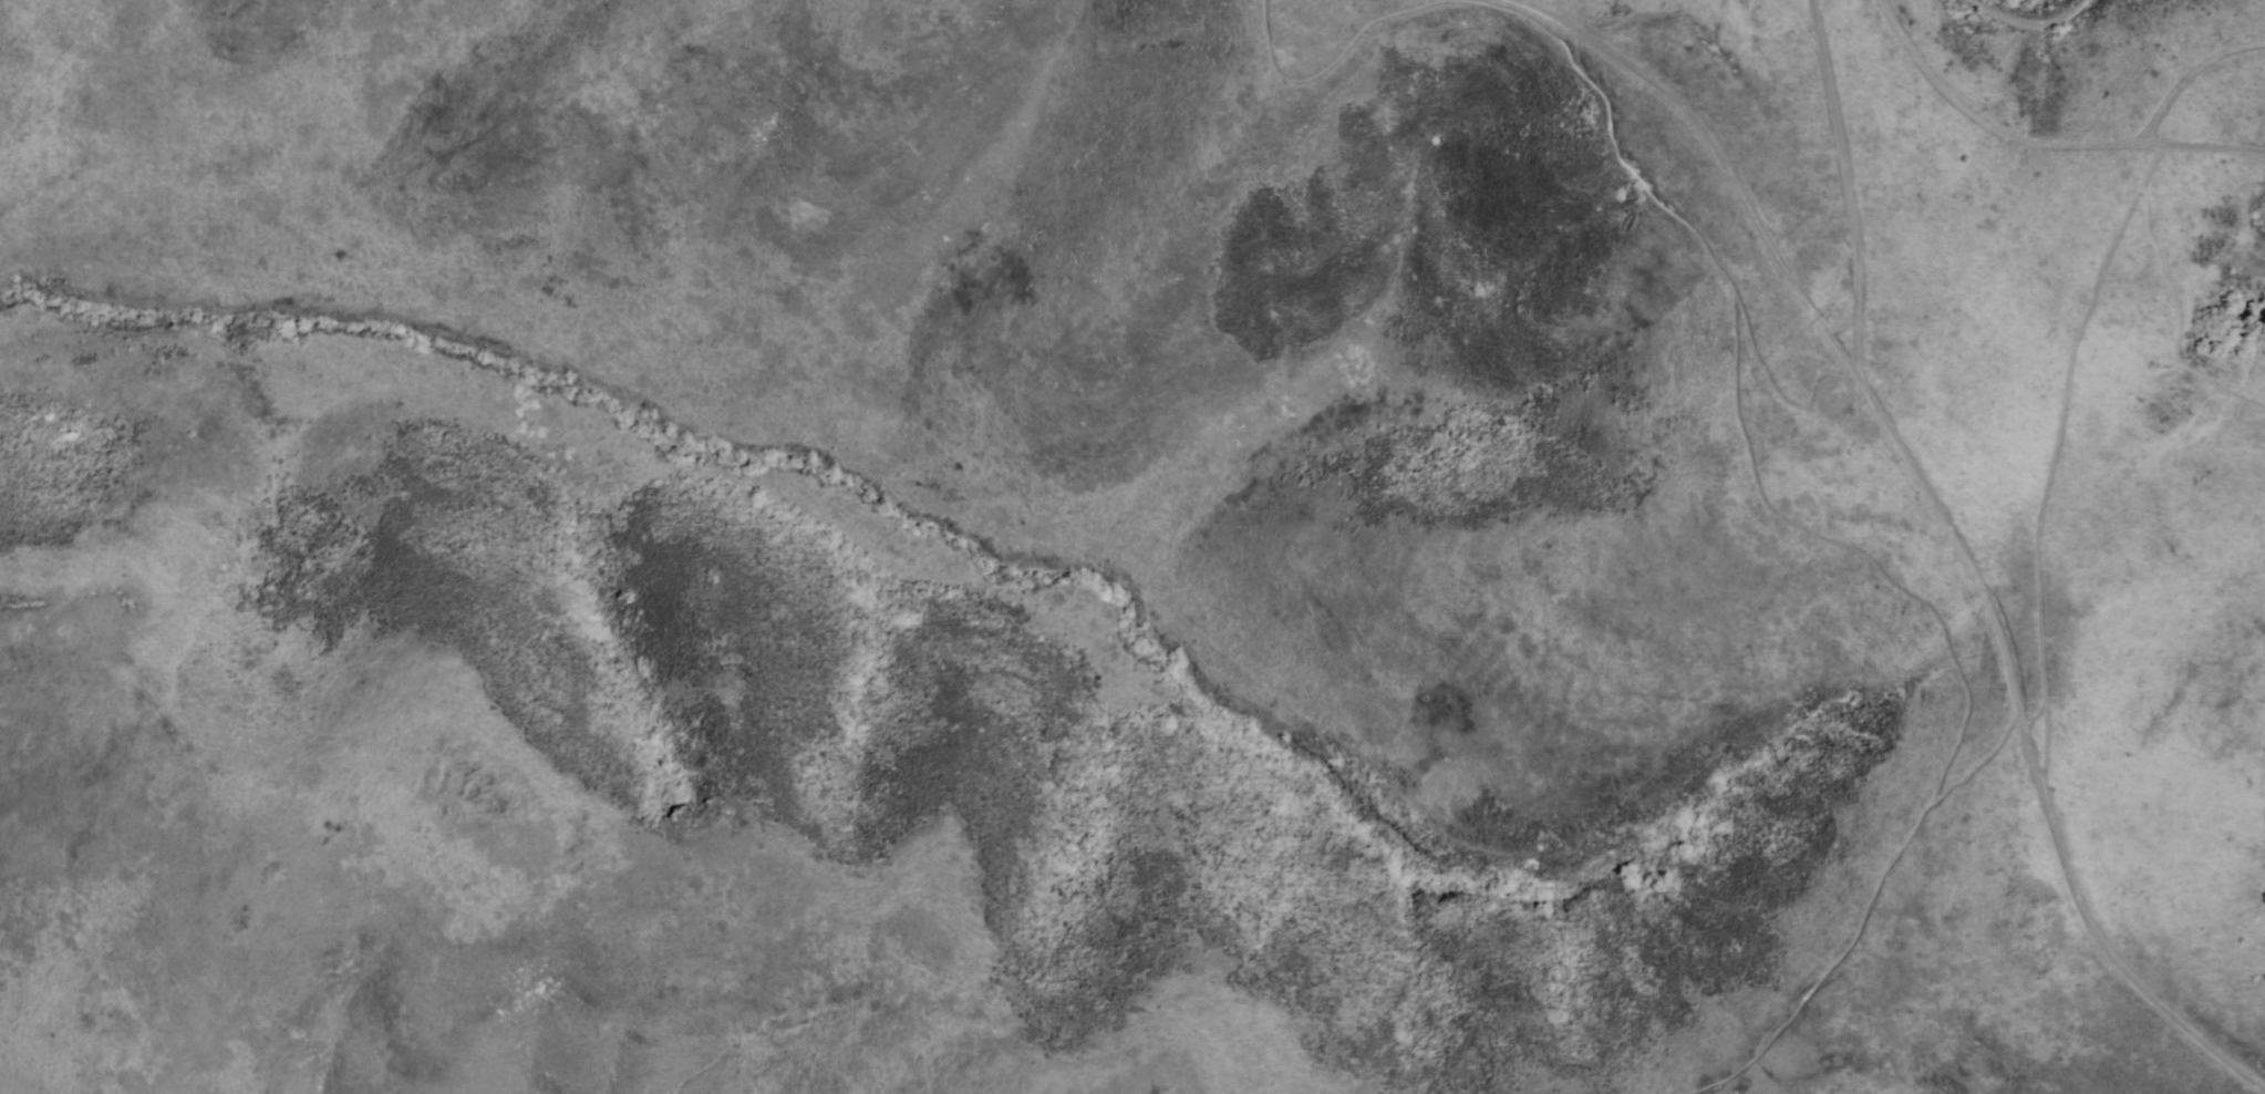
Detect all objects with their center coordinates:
road: (2031, 21)
road: (2178, 314)
road: (2066, 372)
road: (2100, 932)

